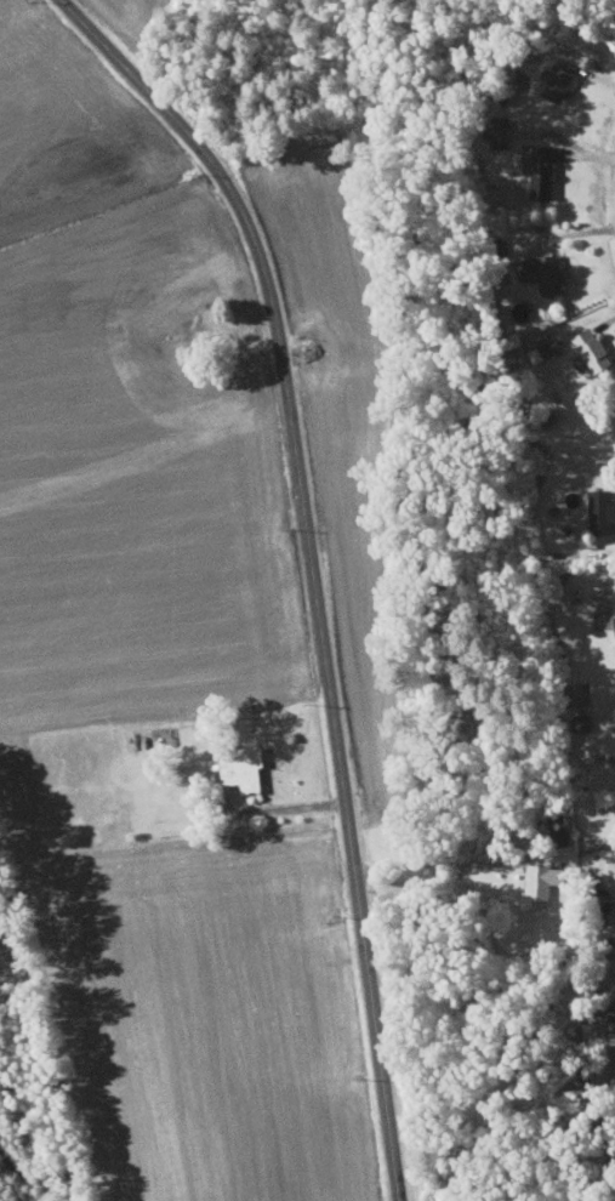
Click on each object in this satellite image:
building: (563, 79)
road: (614, 164)
building: (546, 169)
building: (551, 269)
building: (596, 348)
building: (311, 352)
building: (603, 510)
road: (303, 571)
building: (247, 767)
building: (545, 882)

